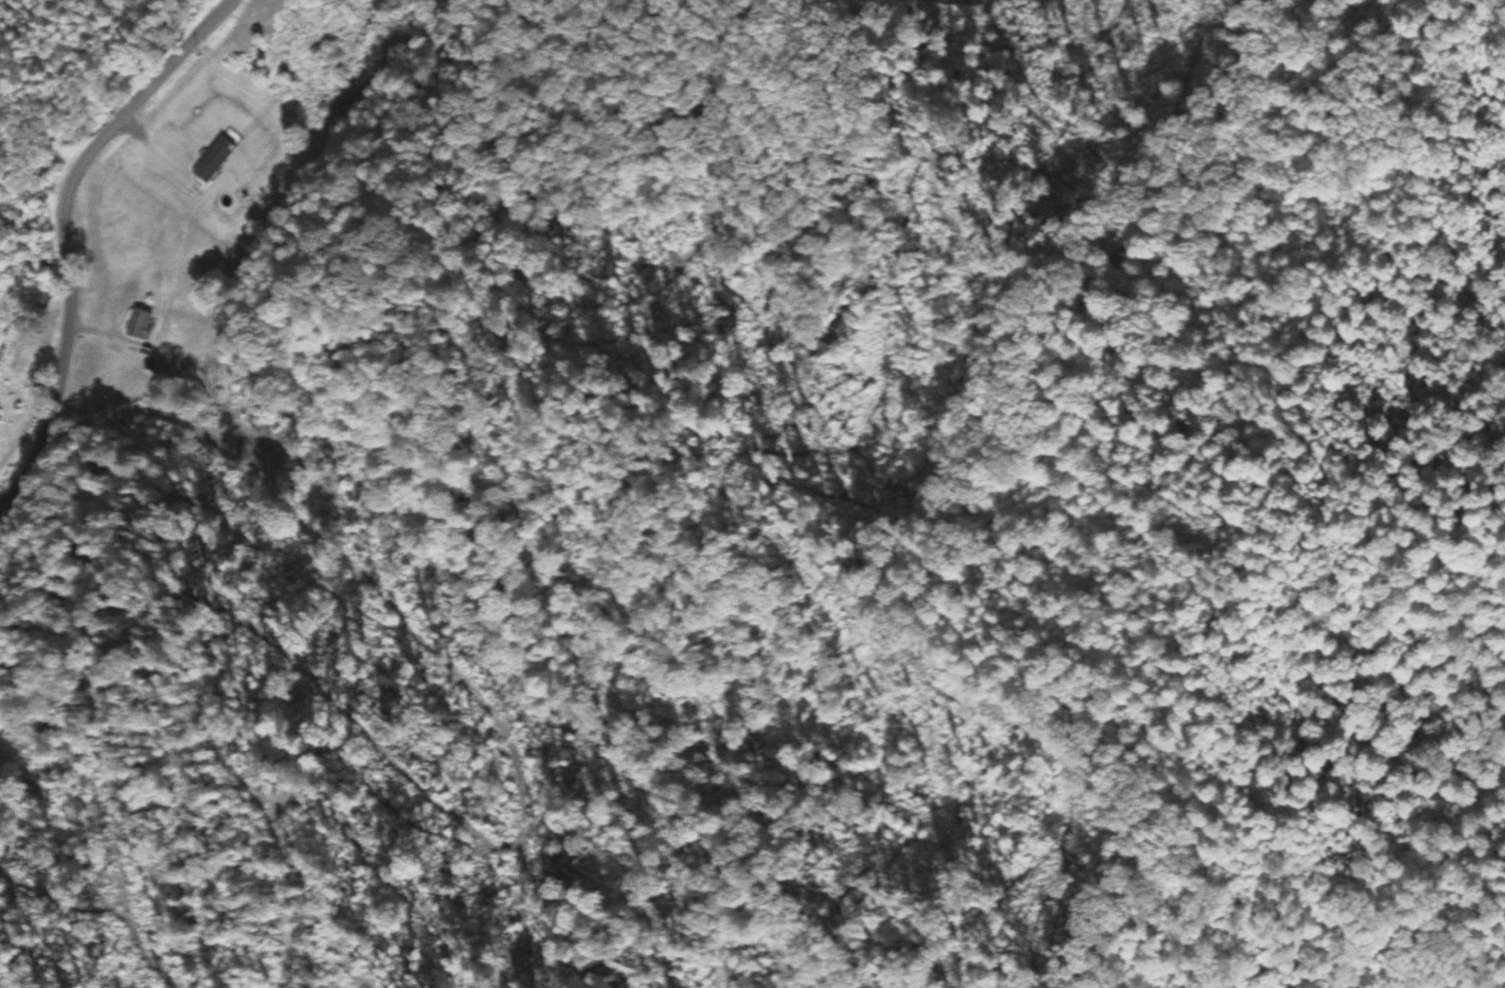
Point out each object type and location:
building: (214, 160)
road: (63, 242)
building: (3, 297)
building: (139, 324)
road: (17, 485)

